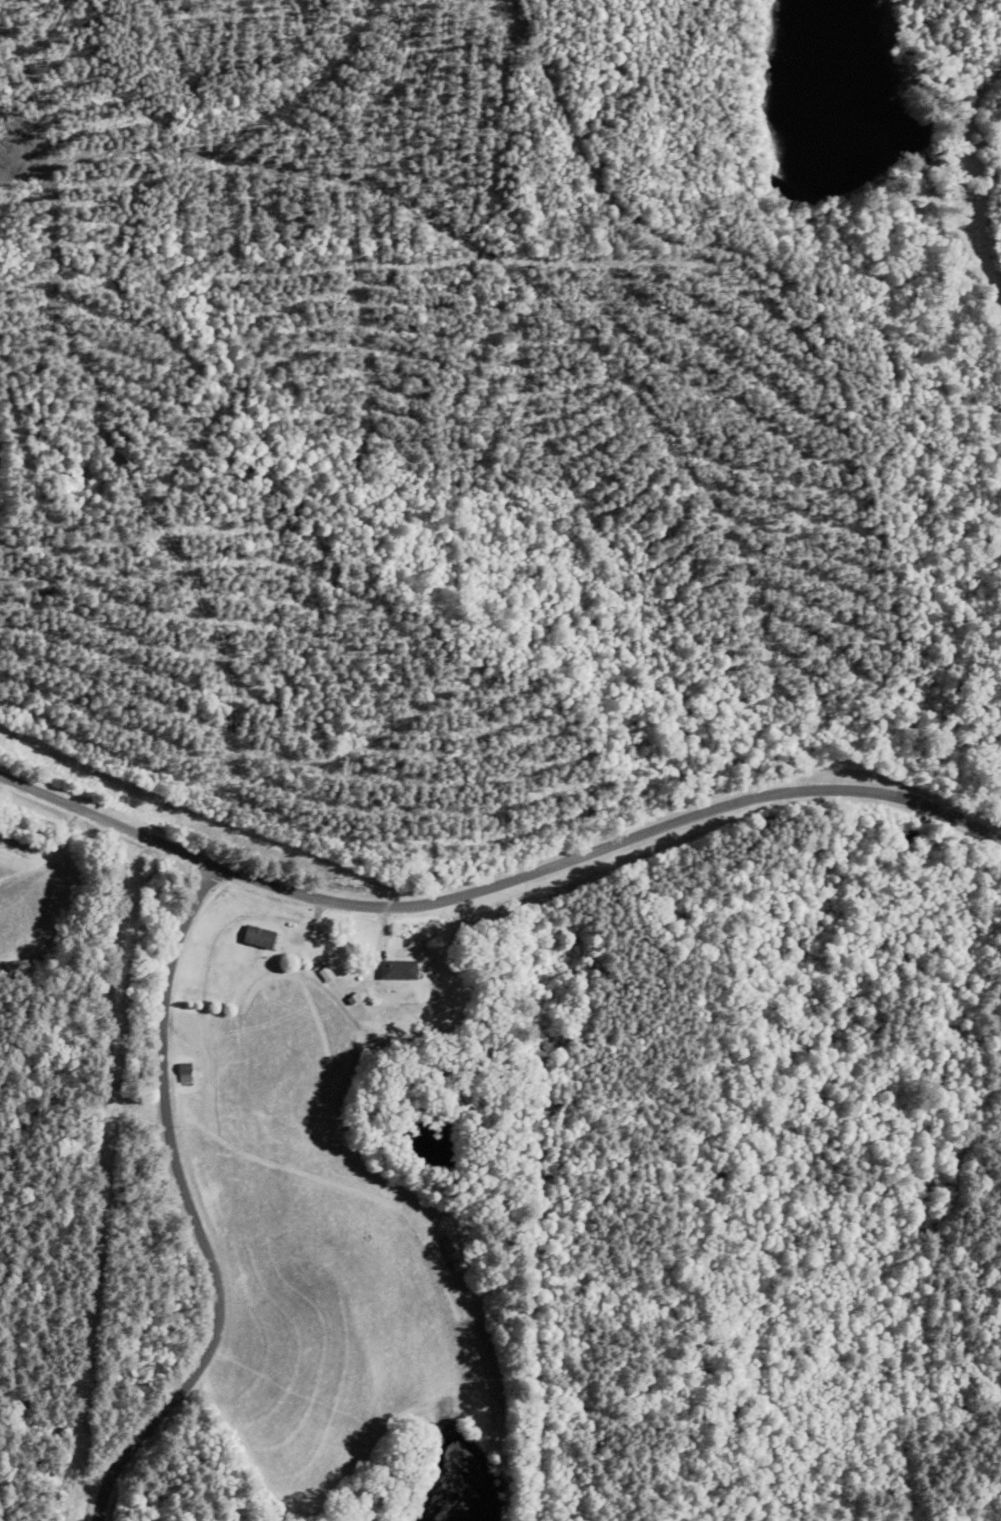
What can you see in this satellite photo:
road: (976, 289)
road: (502, 914)
building: (257, 938)
building: (395, 970)
building: (188, 1074)
road: (187, 1222)

